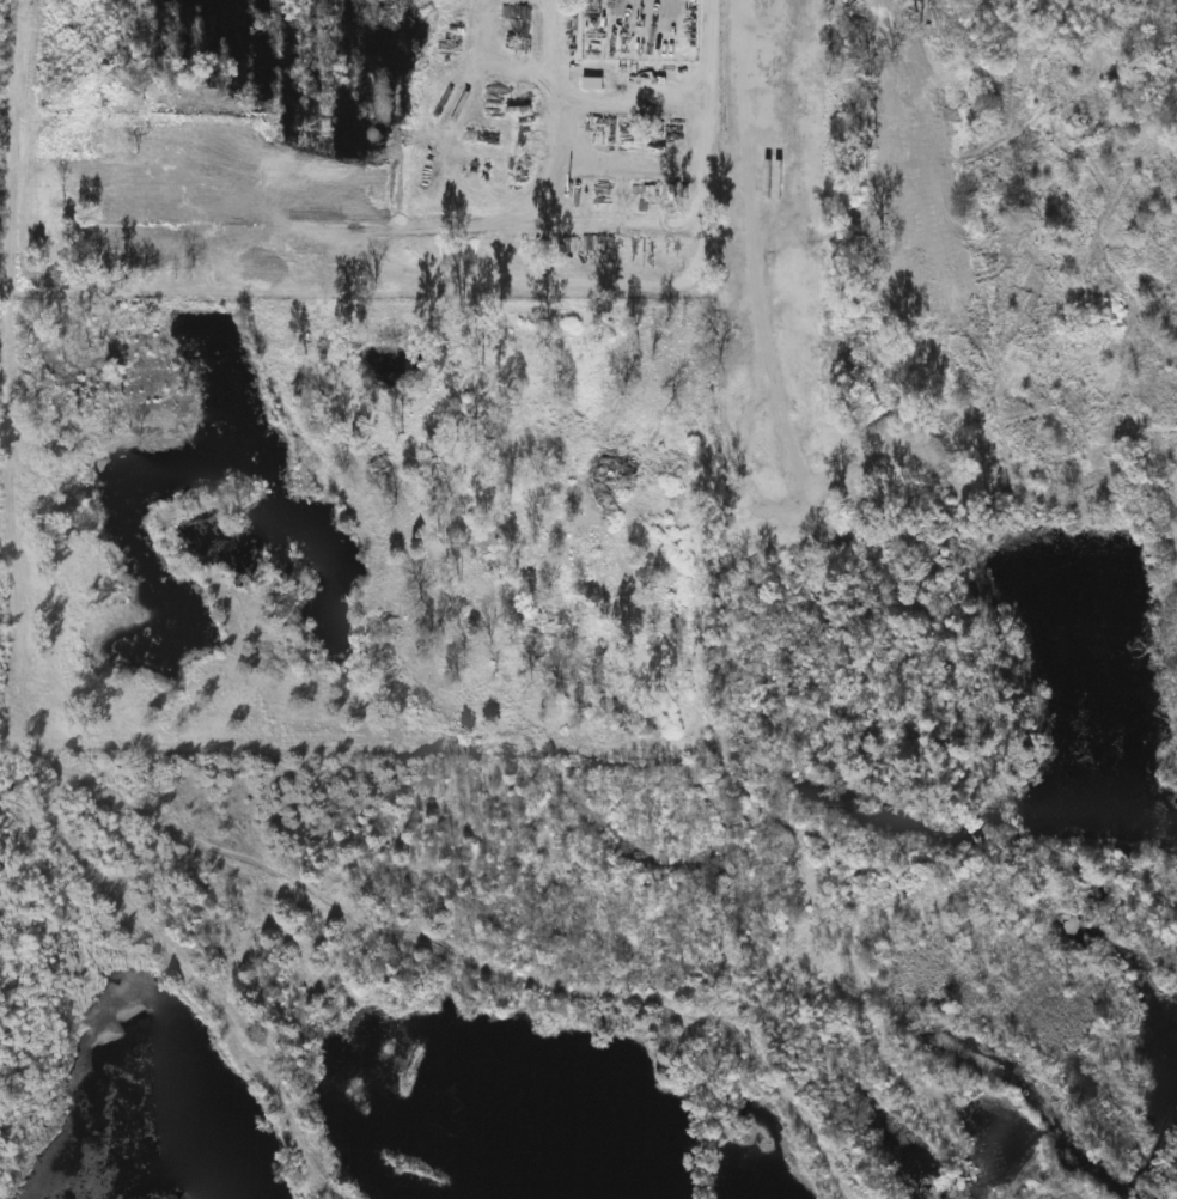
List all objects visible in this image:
road: (711, 73)

